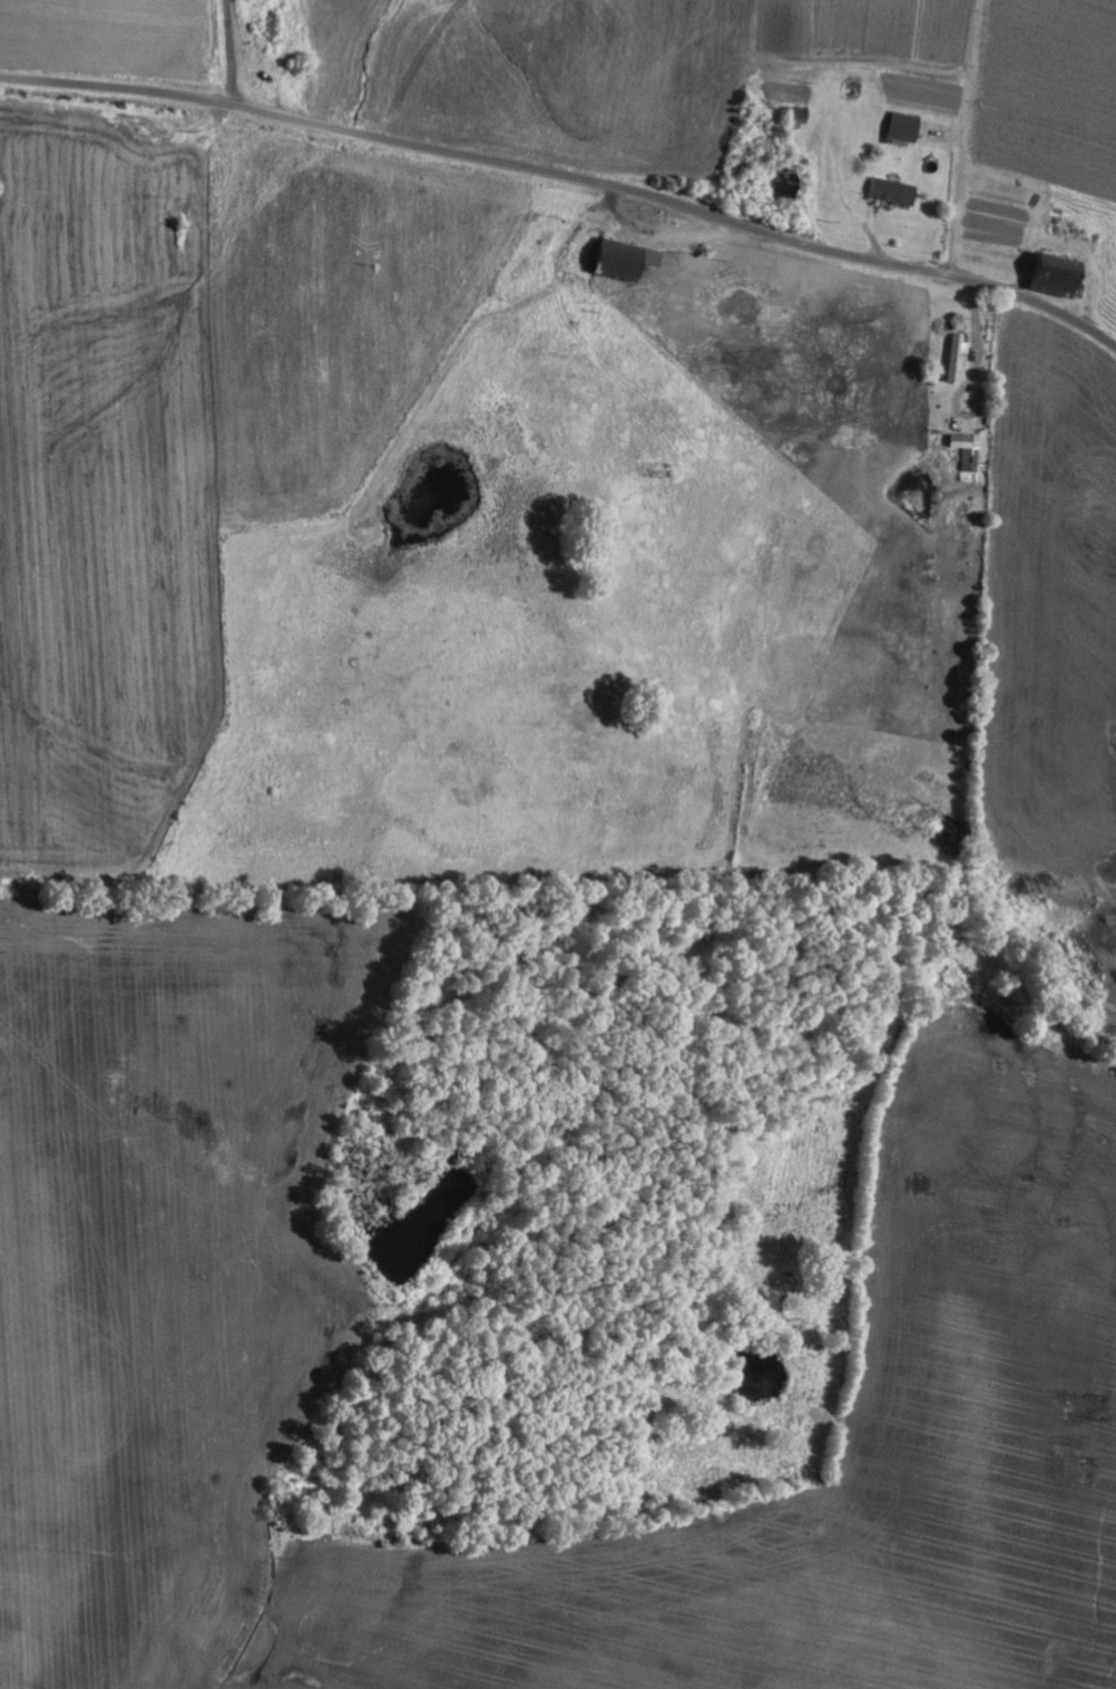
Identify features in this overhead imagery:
road: (229, 52)
building: (907, 126)
road: (568, 175)
building: (786, 185)
building: (897, 189)
road: (888, 191)
building: (627, 258)
building: (1059, 274)
building: (958, 354)

